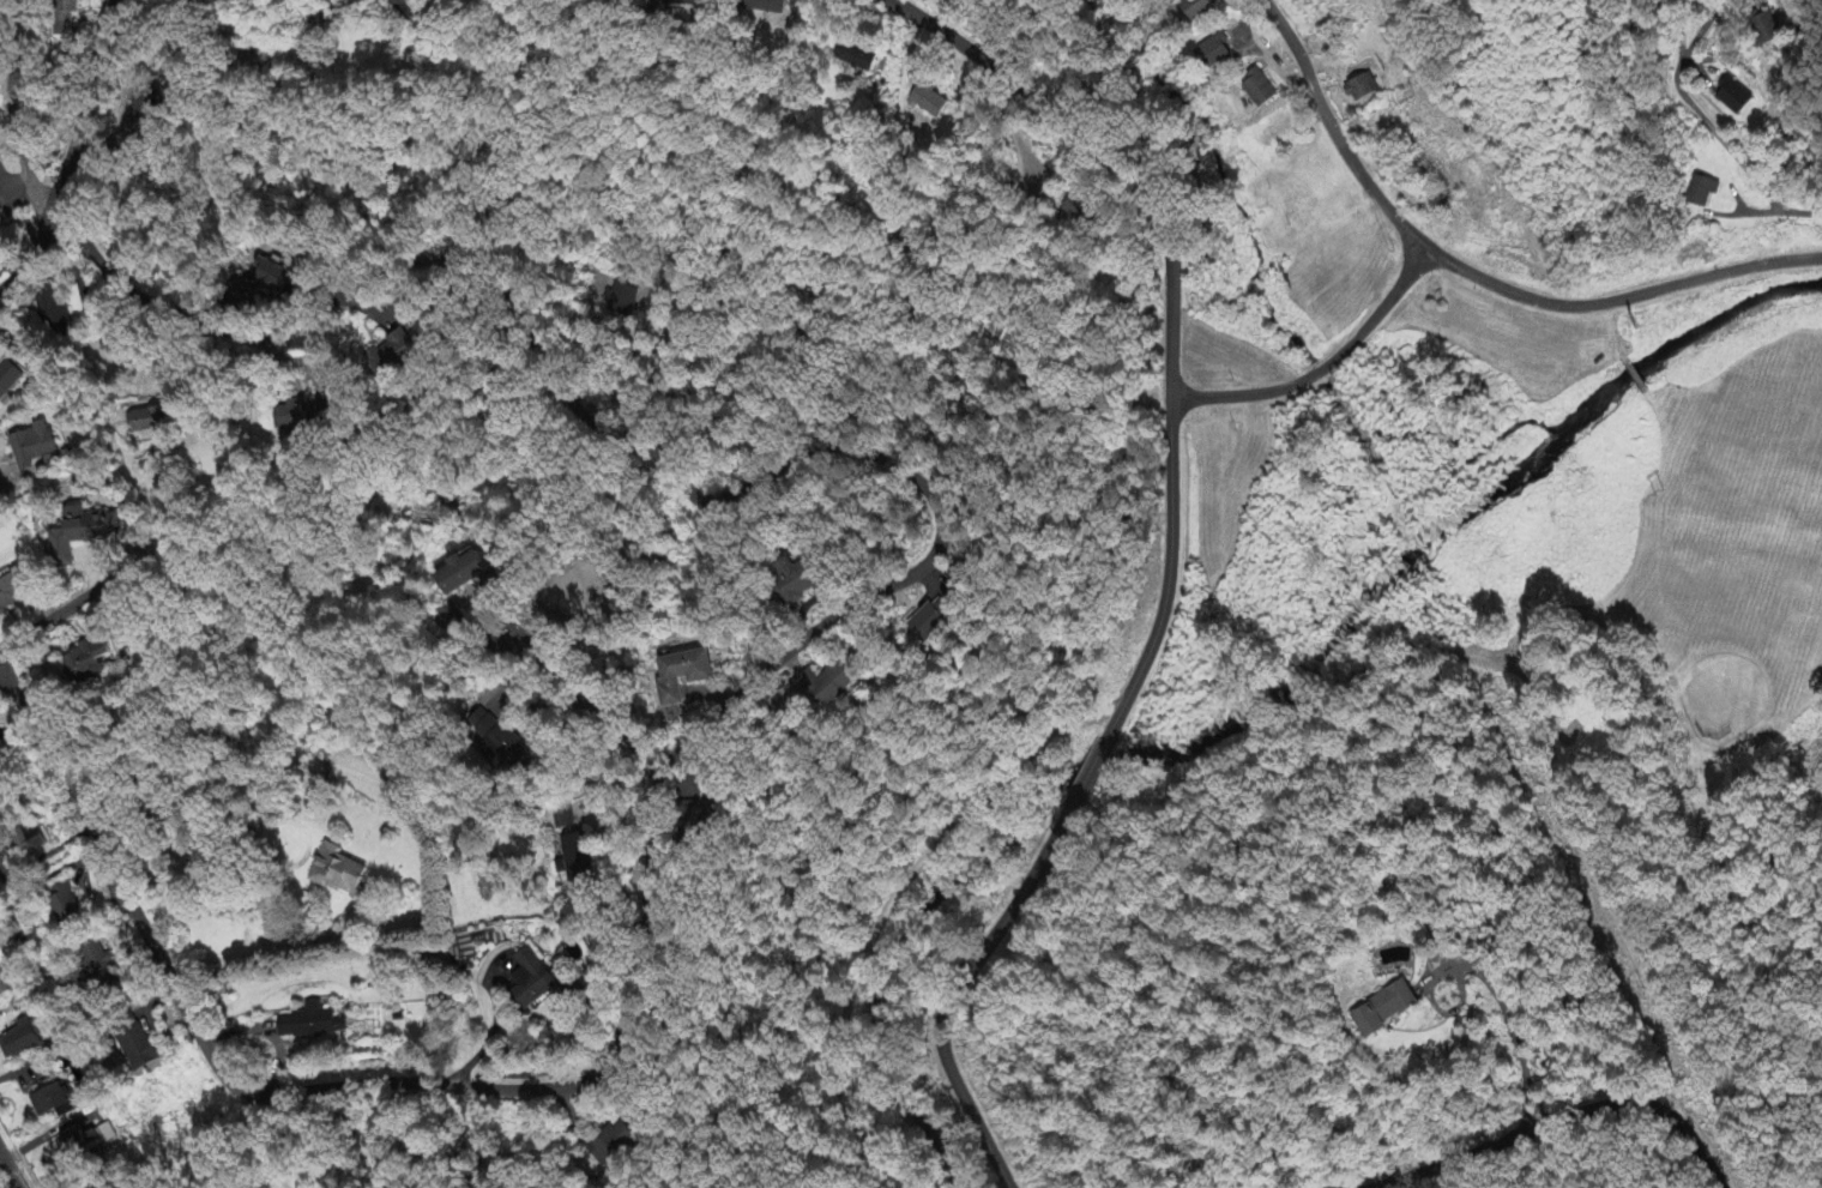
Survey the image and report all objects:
power tower: (1411, 97)
road: (90, 104)
road: (12, 110)
road: (1334, 138)
road: (1736, 156)
road: (35, 254)
road: (1619, 298)
road: (1320, 369)
power tower: (1657, 494)
road: (943, 520)
road: (1169, 563)
road: (76, 601)
road: (585, 701)
road: (114, 866)
road: (856, 886)
road: (1508, 1020)
road: (493, 1032)
road: (1553, 1124)
road: (10, 1170)

